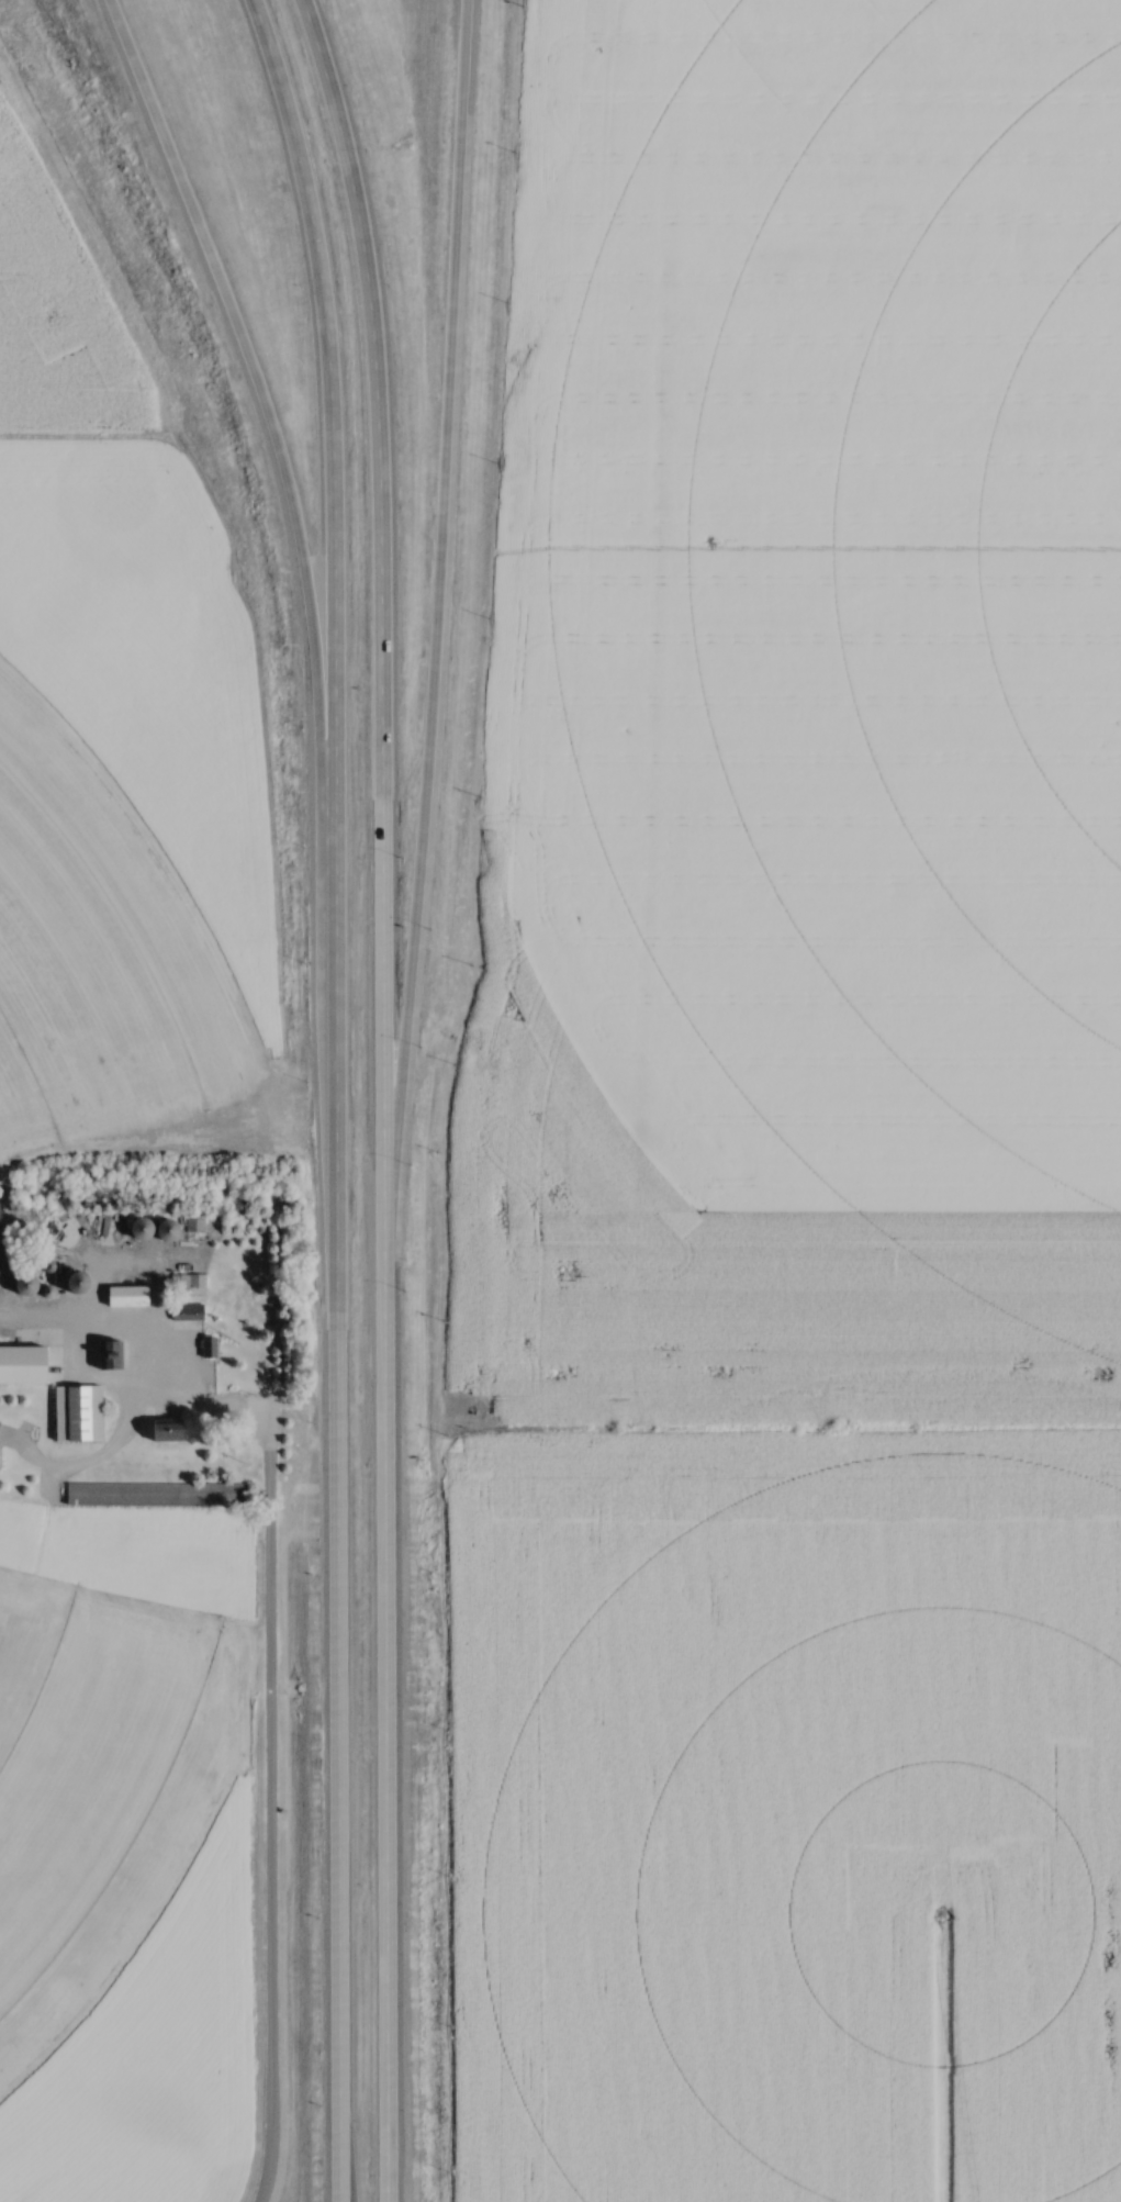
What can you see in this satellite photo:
road: (280, 462)
road: (328, 472)
road: (380, 638)
road: (434, 644)
building: (419, 932)
building: (193, 1226)
building: (145, 1228)
building: (67, 1232)
building: (25, 1286)
building: (130, 1296)
building: (33, 1341)
building: (80, 1415)
building: (152, 1495)
road: (334, 1577)
road: (270, 1743)
road: (383, 1744)
road: (395, 1955)

